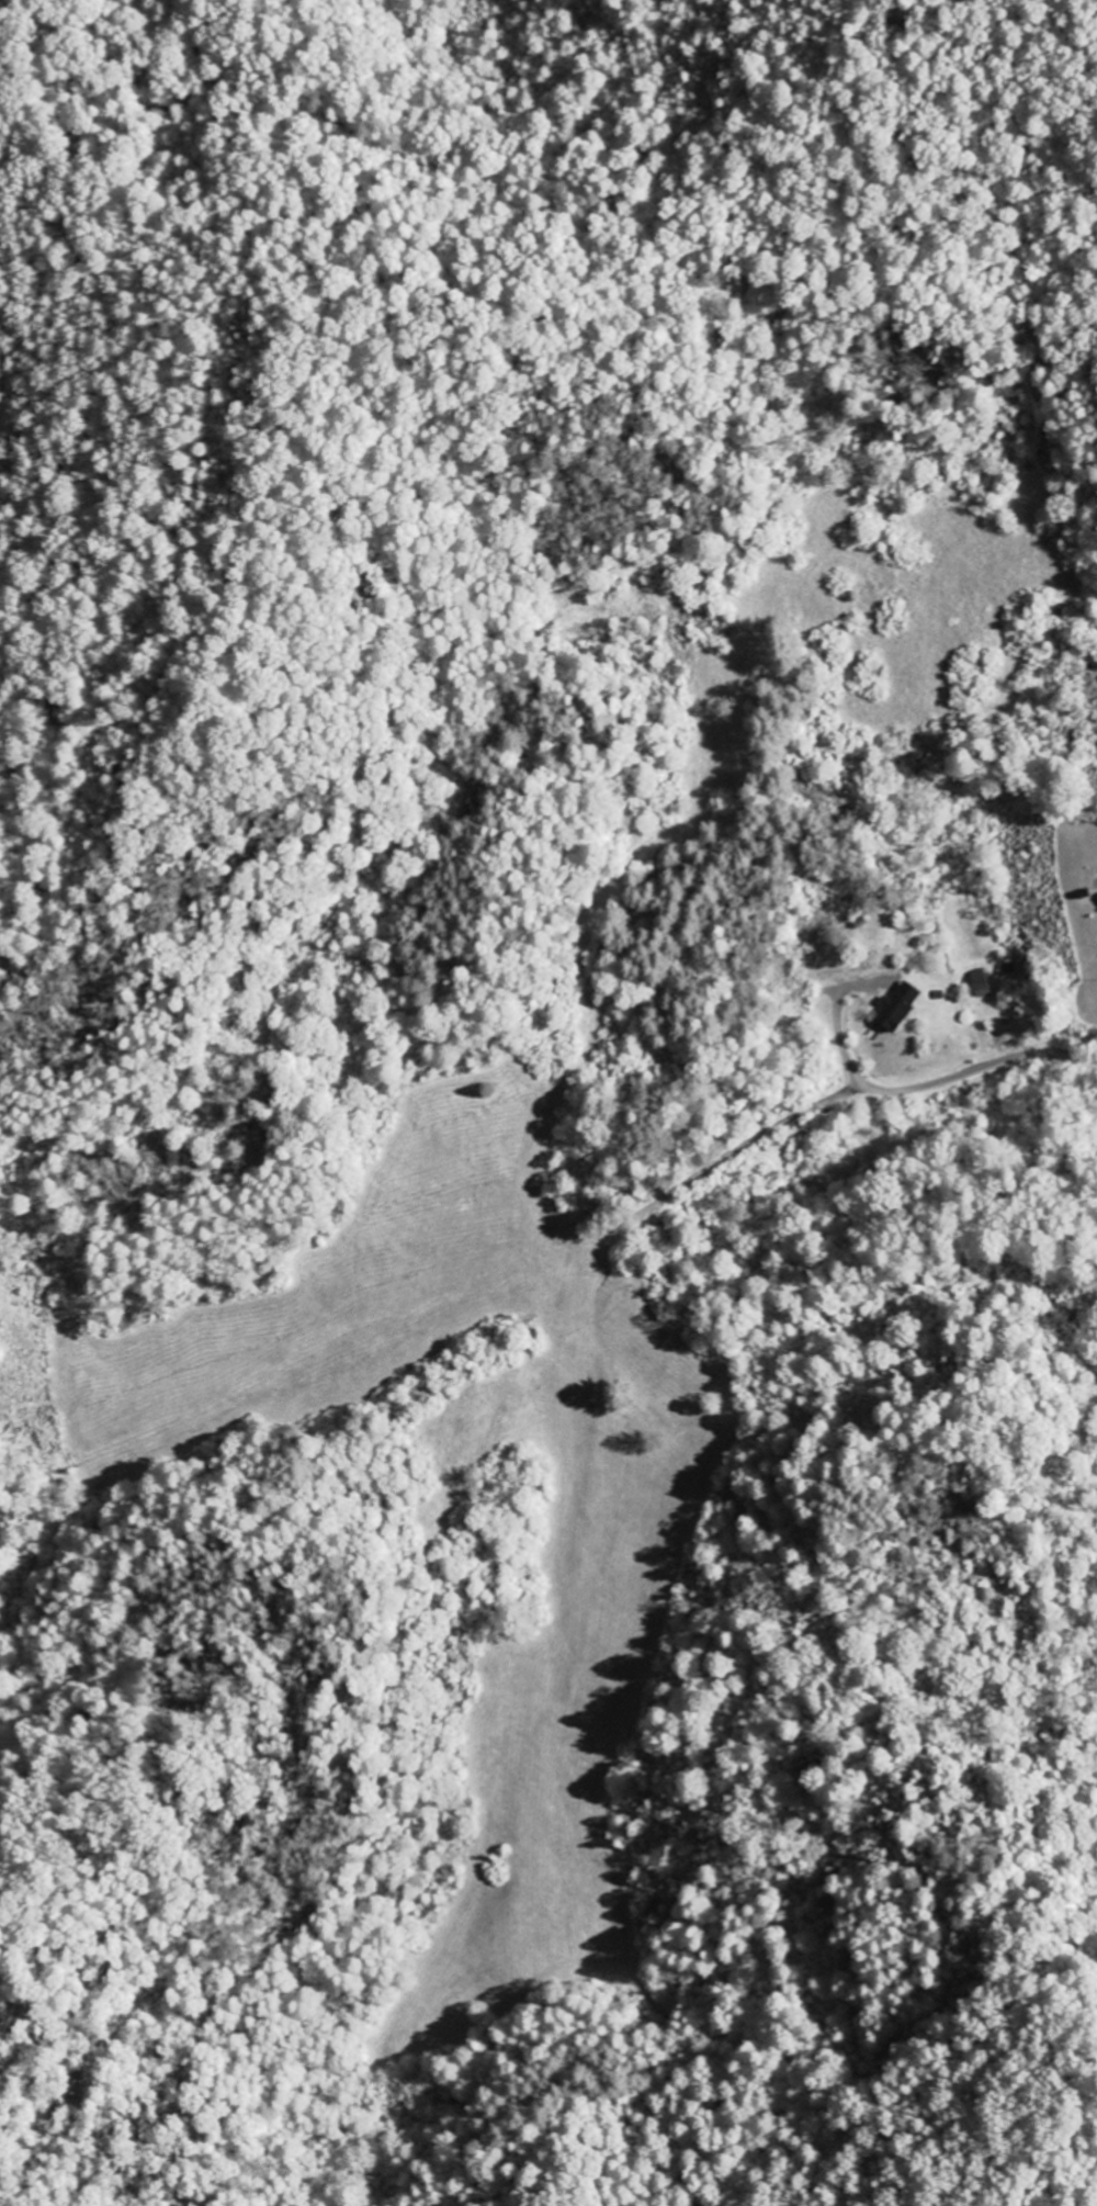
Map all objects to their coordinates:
building: (979, 981)
building: (900, 1009)
road: (973, 1071)

